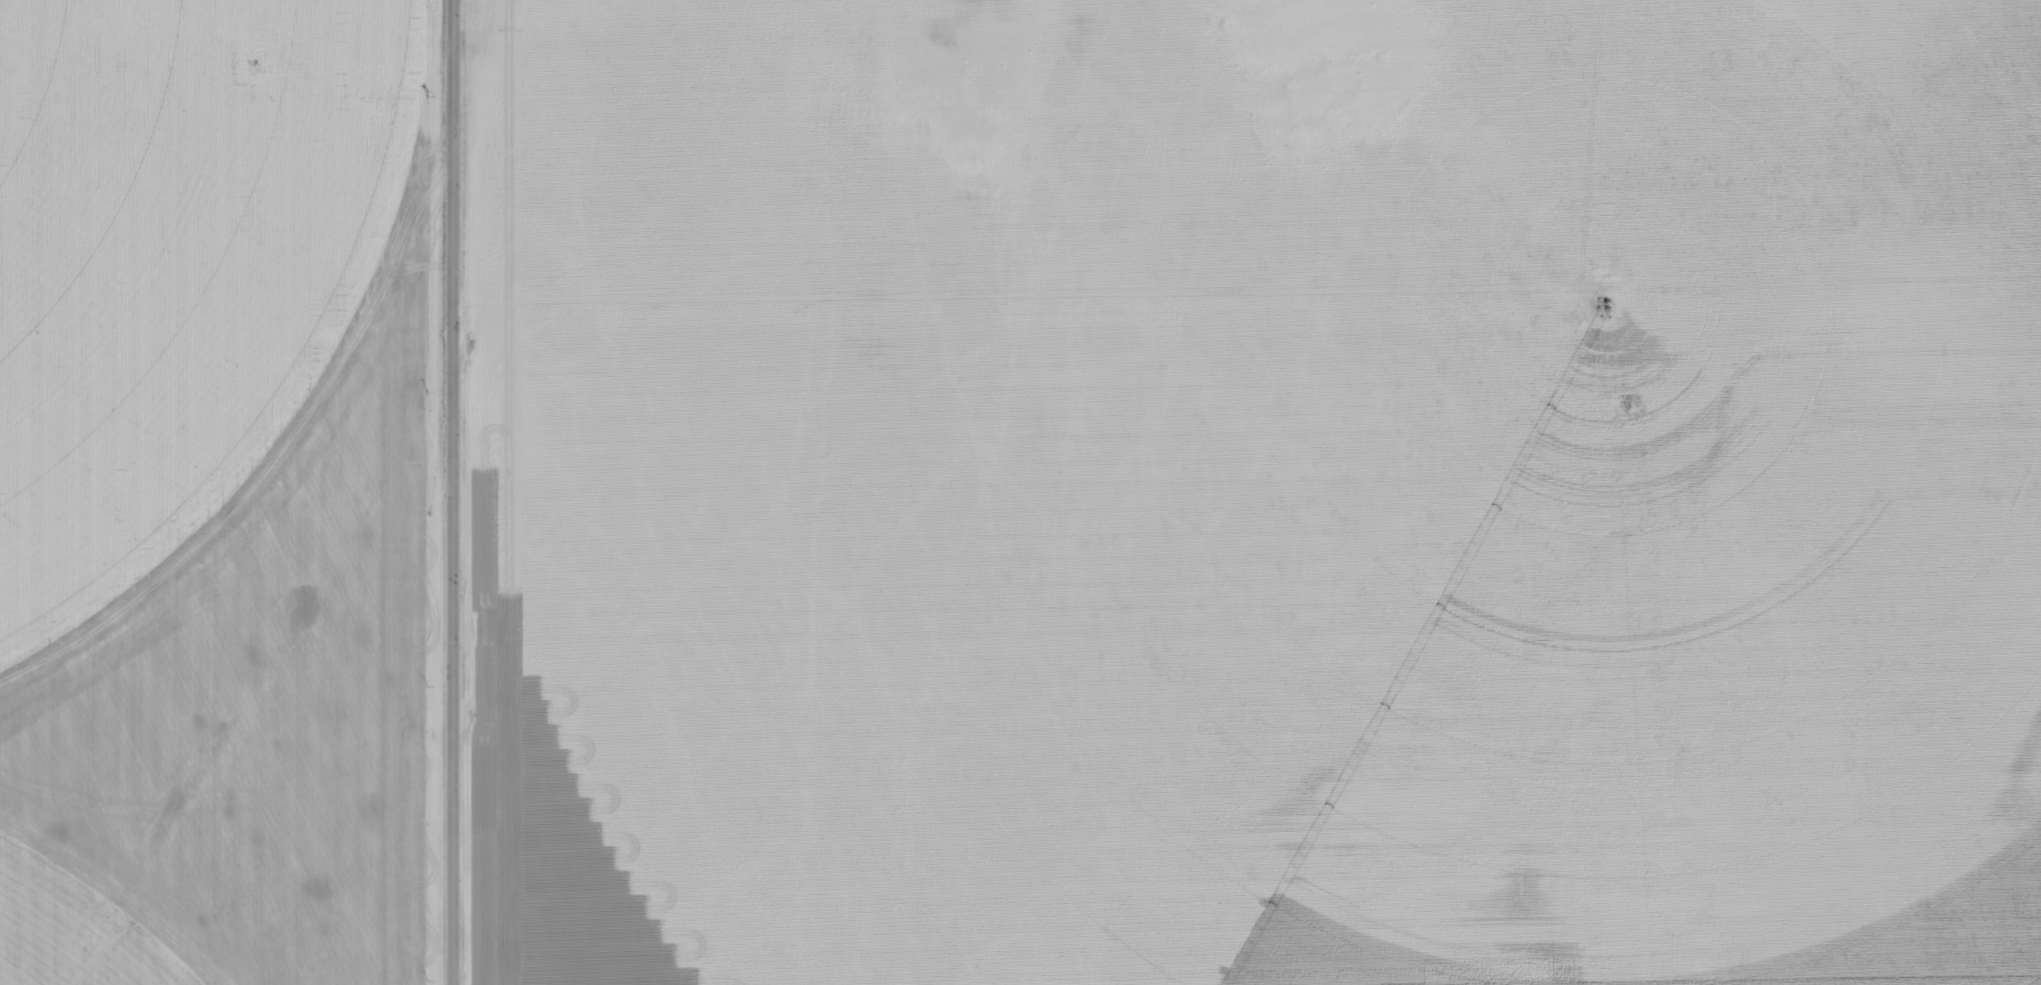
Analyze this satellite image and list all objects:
road: (449, 492)

